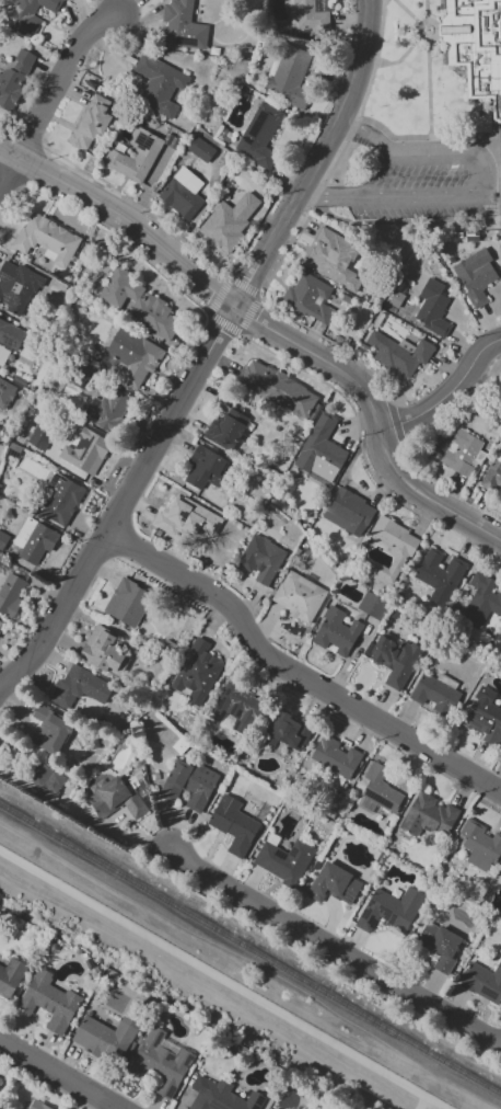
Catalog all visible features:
building: (28, 13)
building: (306, 14)
building: (182, 25)
building: (476, 47)
building: (289, 75)
building: (14, 77)
building: (159, 84)
road: (54, 99)
road: (20, 102)
building: (91, 122)
building: (259, 135)
rooftop solar panel: (145, 142)
building: (199, 149)
building: (135, 157)
building: (500, 159)
parking lot: (429, 182)
road: (481, 190)
building: (182, 193)
road: (139, 206)
building: (228, 221)
road: (252, 235)
building: (48, 244)
building: (333, 260)
building: (475, 276)
rooftop solar panel: (0, 277)
building: (26, 294)
rooftop solar panel: (8, 297)
road: (258, 297)
building: (307, 298)
building: (138, 302)
building: (432, 308)
road: (271, 331)
building: (12, 336)
rooftop solar panel: (7, 340)
road: (334, 345)
building: (398, 353)
road: (205, 356)
building: (129, 357)
building: (280, 390)
building: (7, 391)
road: (446, 397)
rooftop solar panel: (93, 404)
building: (105, 410)
rooftop solar panel: (97, 418)
road: (396, 425)
building: (225, 427)
building: (39, 437)
building: (321, 450)
building: (84, 451)
rooftop solar panel: (13, 454)
building: (462, 454)
building: (205, 468)
building: (492, 473)
rooftop solar panel: (56, 480)
building: (59, 500)
building: (348, 513)
building: (186, 518)
building: (2, 539)
building: (34, 540)
building: (399, 556)
building: (260, 559)
building: (439, 578)
building: (10, 593)
building: (299, 596)
building: (481, 601)
building: (127, 603)
building: (371, 605)
building: (0, 620)
building: (336, 632)
building: (102, 651)
building: (394, 660)
building: (196, 672)
road: (294, 675)
building: (79, 687)
building: (434, 694)
building: (236, 705)
rooftop solar panel: (481, 712)
building: (485, 718)
rooftop solar panel: (477, 725)
building: (49, 731)
building: (288, 732)
building: (335, 757)
building: (44, 780)
building: (188, 784)
building: (377, 791)
building: (115, 799)
rooftop solar panel: (382, 802)
building: (428, 815)
building: (233, 825)
building: (480, 845)
rooftop solar panel: (280, 851)
rooftop solar panel: (292, 851)
building: (282, 859)
building: (334, 884)
rooftop solar panel: (349, 895)
building: (389, 908)
railway: (250, 945)
building: (439, 945)
road: (339, 946)
building: (10, 976)
road: (223, 981)
building: (483, 982)
rooftop solar panel: (492, 993)
building: (49, 1002)
building: (106, 1038)
rooftop solar panel: (159, 1039)
rooftop solar panel: (171, 1057)
rooftop solar panel: (188, 1060)
building: (160, 1062)
road: (57, 1074)
building: (1, 1083)
rooftop solar panel: (171, 1091)
building: (217, 1097)
road: (421, 1104)
building: (37, 1106)
building: (271, 1108)

